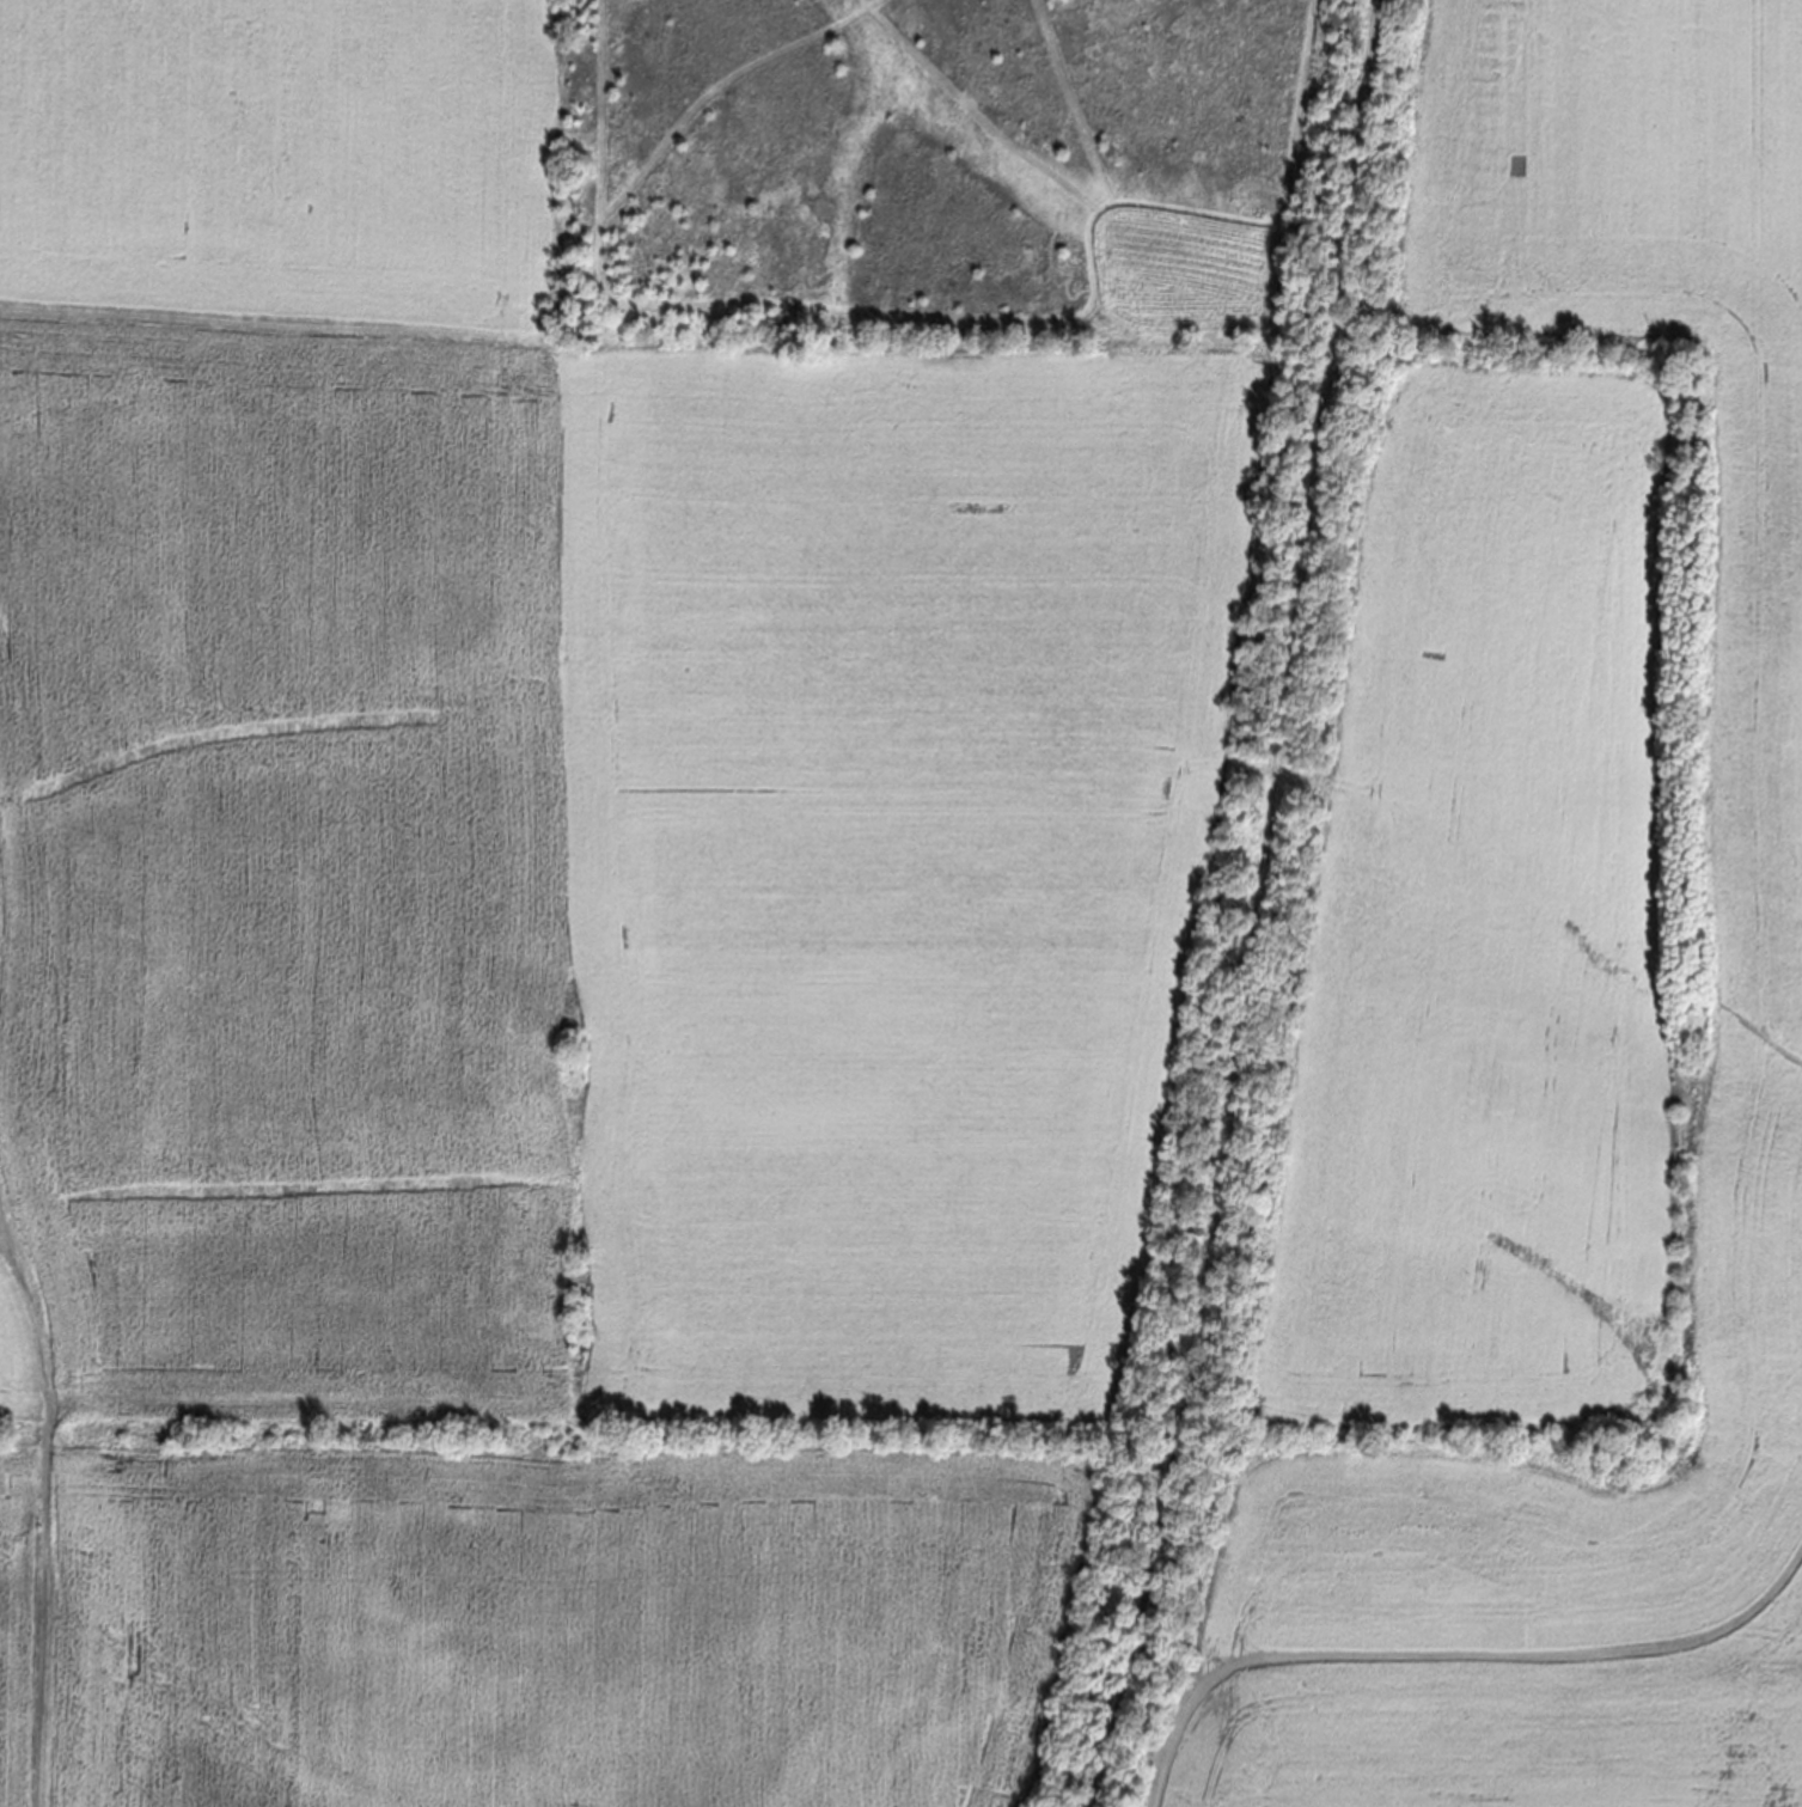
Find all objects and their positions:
road: (275, 323)
road: (1254, 908)
road: (54, 1490)

